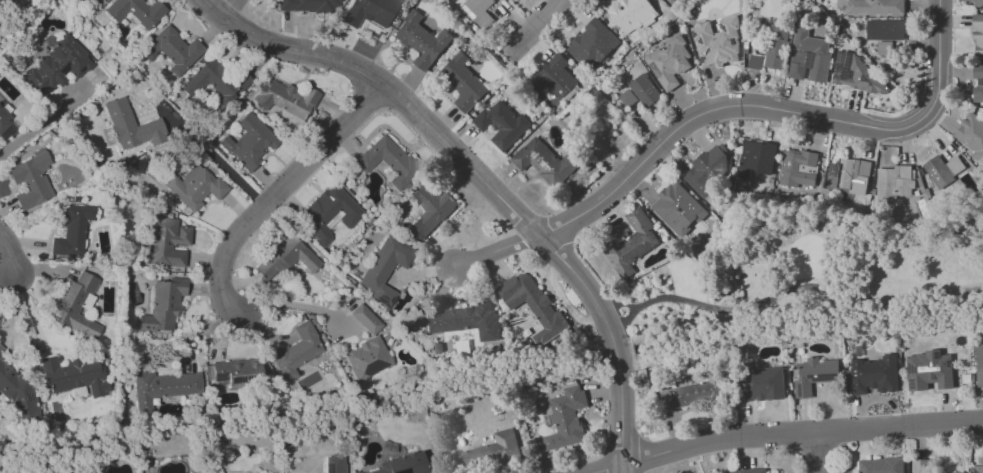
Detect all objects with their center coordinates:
building: (672, 0)
building: (978, 3)
building: (308, 6)
building: (875, 7)
road: (229, 9)
building: (136, 11)
building: (479, 11)
building: (638, 11)
building: (369, 12)
road: (542, 23)
building: (886, 30)
building: (978, 33)
building: (420, 40)
building: (717, 43)
building: (590, 44)
building: (775, 47)
building: (173, 50)
building: (808, 56)
building: (668, 62)
building: (754, 62)
building: (58, 65)
building: (857, 74)
building: (555, 76)
building: (217, 82)
building: (462, 82)
building: (977, 82)
road: (388, 90)
building: (644, 90)
building: (285, 98)
building: (627, 98)
road: (773, 108)
building: (4, 119)
road: (40, 123)
building: (505, 123)
building: (132, 126)
building: (971, 135)
building: (249, 142)
building: (755, 158)
road: (217, 159)
building: (544, 159)
building: (387, 161)
building: (797, 168)
building: (707, 169)
rooftop solar panel: (834, 169)
building: (937, 172)
building: (849, 175)
building: (30, 180)
building: (894, 181)
building: (194, 187)
road: (276, 193)
building: (677, 208)
building: (430, 209)
building: (329, 213)
building: (72, 231)
building: (165, 241)
building: (631, 242)
road: (494, 253)
building: (285, 258)
road: (10, 261)
building: (385, 268)
park: (800, 270)
road: (788, 296)
road: (283, 303)
building: (76, 305)
building: (533, 305)
building: (163, 306)
building: (365, 319)
building: (464, 321)
road: (612, 342)
building: (297, 351)
rooftop solar panel: (936, 355)
building: (367, 359)
rooftop solar panel: (947, 362)
building: (979, 363)
rooftop solar panel: (374, 366)
rooftop solar panel: (911, 370)
building: (928, 371)
building: (874, 374)
building: (74, 375)
building: (814, 375)
building: (233, 376)
rooftop solar panel: (219, 379)
rooftop solar panel: (761, 383)
rooftop solar panel: (912, 383)
building: (761, 384)
building: (162, 388)
building: (692, 392)
building: (17, 394)
rooftop solar panel: (28, 396)
building: (566, 418)
road: (789, 433)
road: (817, 452)
building: (486, 453)
building: (334, 463)
building: (402, 464)
building: (880, 465)
building: (925, 467)
building: (978, 468)
building: (751, 470)

